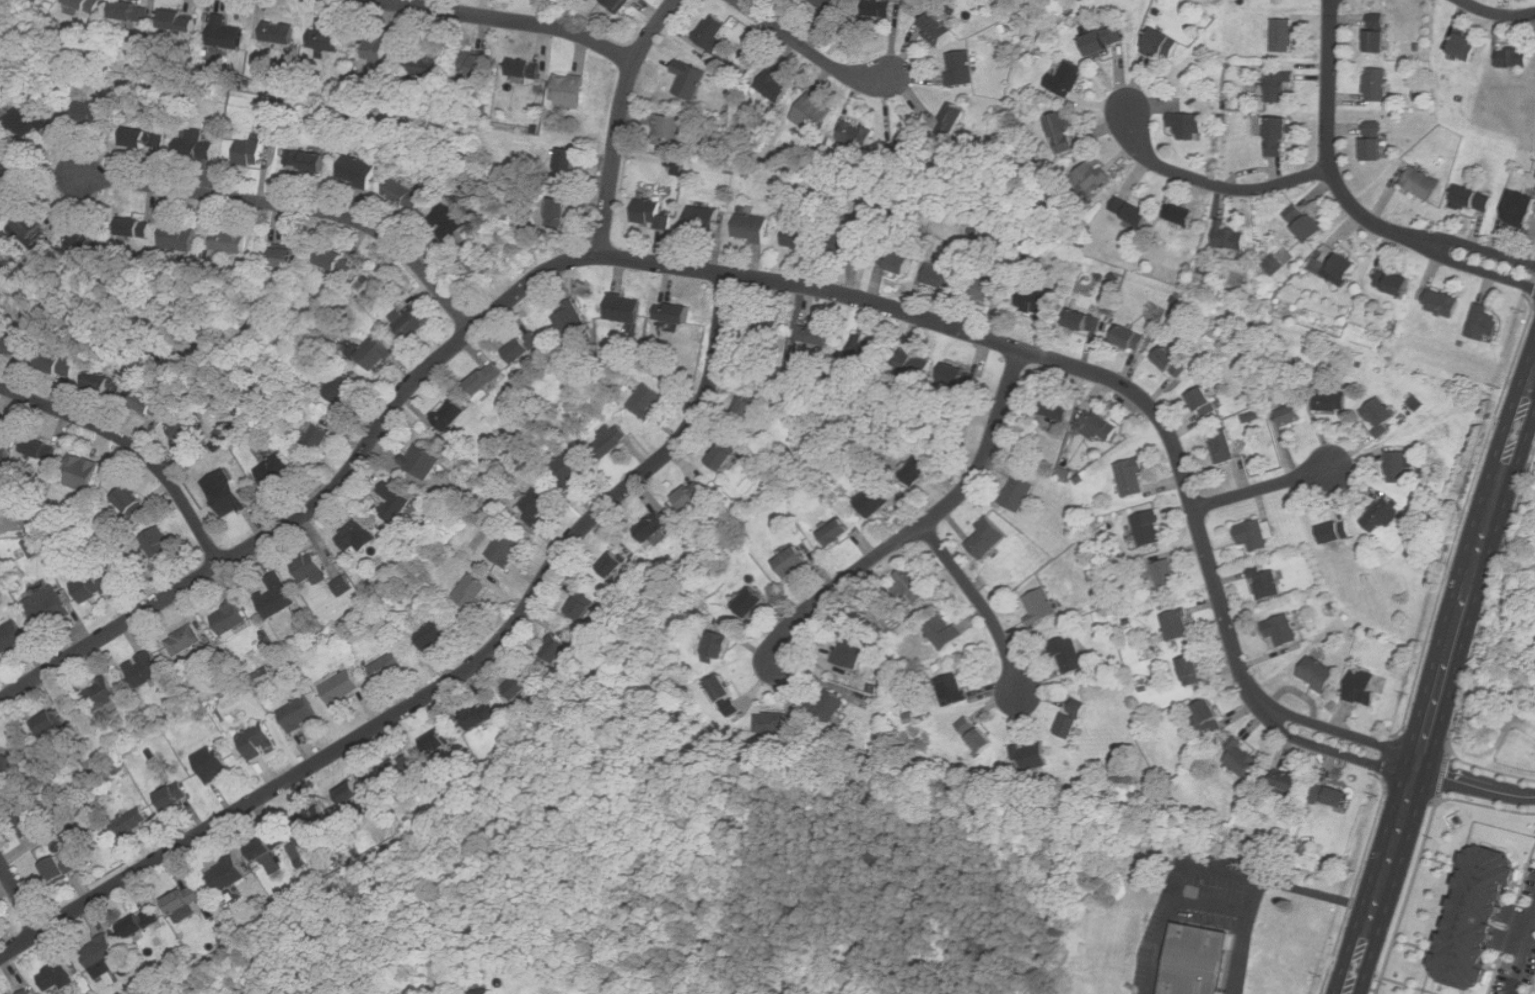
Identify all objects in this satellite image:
building: (40, 0)
building: (617, 4)
building: (89, 5)
building: (831, 7)
building: (880, 9)
building: (133, 12)
road: (1496, 14)
road: (507, 19)
building: (180, 22)
building: (938, 28)
building: (712, 31)
building: (279, 32)
building: (227, 33)
building: (1379, 35)
building: (1284, 36)
building: (327, 41)
building: (1106, 41)
building: (1163, 45)
building: (1464, 48)
road: (807, 50)
building: (1515, 58)
building: (378, 62)
building: (425, 64)
building: (477, 64)
building: (524, 69)
building: (961, 69)
building: (1067, 79)
building: (690, 80)
building: (1278, 85)
building: (1377, 85)
building: (776, 86)
building: (572, 92)
building: (814, 113)
building: (94, 114)
road: (617, 120)
building: (30, 121)
building: (954, 121)
building: (1189, 125)
building: (670, 131)
building: (1063, 132)
building: (858, 134)
building: (1281, 137)
building: (147, 139)
building: (1376, 141)
building: (196, 146)
building: (908, 150)
building: (250, 151)
building: (306, 161)
building: (675, 165)
building: (568, 166)
building: (359, 171)
building: (1095, 175)
building: (10, 179)
building: (1423, 183)
road: (1211, 184)
building: (405, 195)
road: (1348, 199)
building: (1474, 199)
road: (298, 207)
building: (1521, 210)
building: (560, 212)
building: (1133, 212)
building: (652, 213)
building: (1181, 215)
building: (703, 221)
building: (449, 222)
building: (1305, 223)
building: (28, 228)
building: (752, 228)
building: (138, 229)
building: (180, 237)
building: (1229, 237)
building: (800, 238)
building: (232, 241)
building: (84, 243)
building: (850, 245)
building: (286, 257)
building: (895, 260)
building: (338, 261)
building: (477, 261)
building: (1275, 264)
building: (1338, 268)
building: (943, 276)
road: (749, 277)
building: (1395, 282)
building: (990, 291)
building: (1035, 303)
building: (1443, 303)
building: (624, 308)
building: (676, 313)
building: (572, 320)
building: (414, 322)
building: (1085, 322)
building: (1484, 322)
building: (769, 335)
building: (819, 335)
building: (1126, 336)
building: (13, 345)
building: (525, 347)
building: (866, 350)
building: (374, 353)
building: (1172, 363)
building: (60, 364)
building: (912, 365)
building: (961, 377)
building: (487, 378)
building: (105, 384)
building: (343, 387)
building: (648, 401)
building: (1332, 401)
building: (1206, 402)
building: (149, 404)
building: (1054, 407)
building: (748, 410)
building: (451, 414)
building: (1292, 415)
building: (1381, 415)
building: (1101, 425)
building: (1, 427)
building: (186, 433)
building: (316, 440)
building: (611, 440)
road: (133, 447)
building: (1223, 447)
building: (5, 448)
building: (41, 449)
building: (726, 456)
building: (422, 461)
building: (1398, 467)
building: (570, 469)
building: (276, 470)
building: (918, 471)
building: (82, 473)
building: (1133, 477)
road: (1261, 487)
building: (226, 492)
building: (1019, 493)
building: (693, 496)
building: (875, 501)
building: (131, 502)
building: (395, 502)
building: (538, 505)
building: (1382, 515)
road: (922, 522)
building: (653, 526)
building: (1150, 528)
building: (836, 532)
building: (1337, 533)
building: (1257, 534)
building: (356, 535)
building: (988, 537)
building: (158, 543)
building: (506, 550)
building: (793, 562)
building: (614, 564)
building: (310, 568)
building: (1167, 575)
building: (1266, 583)
building: (342, 585)
building: (912, 585)
building: (91, 587)
building: (474, 593)
building: (277, 596)
road: (1489, 601)
building: (750, 602)
road: (979, 603)
building: (47, 605)
building: (1041, 606)
building: (582, 608)
building: (230, 618)
building: (1178, 625)
building: (434, 631)
building: (944, 631)
building: (1283, 631)
building: (11, 636)
building: (185, 640)
building: (717, 646)
building: (556, 648)
building: (850, 649)
building: (1069, 654)
building: (388, 667)
building: (145, 669)
building: (1188, 669)
building: (1319, 674)
building: (523, 684)
road: (442, 685)
road: (1437, 685)
building: (724, 687)
building: (1365, 687)
building: (343, 688)
building: (952, 689)
building: (102, 695)
building: (827, 706)
building: (299, 714)
building: (482, 715)
building: (1205, 716)
building: (1069, 717)
building: (771, 723)
building: (49, 724)
building: (977, 733)
building: (258, 741)
building: (438, 742)
building: (1031, 757)
building: (1242, 758)
building: (213, 764)
building: (15, 765)
building: (399, 768)
road: (1442, 775)
building: (1288, 781)
road: (1474, 786)
building: (352, 792)
building: (1333, 795)
building: (175, 796)
building: (314, 818)
building: (131, 821)
building: (30, 822)
building: (270, 846)
road: (1214, 869)
building: (58, 870)
building: (229, 874)
road: (1406, 895)
road: (19, 899)
building: (186, 899)
road: (1228, 910)
building: (1468, 914)
building: (0, 923)
building: (142, 923)
road: (1521, 950)
building: (101, 951)
road: (1242, 954)
building: (1196, 960)
building: (59, 975)
building: (24, 991)
building: (484, 992)

